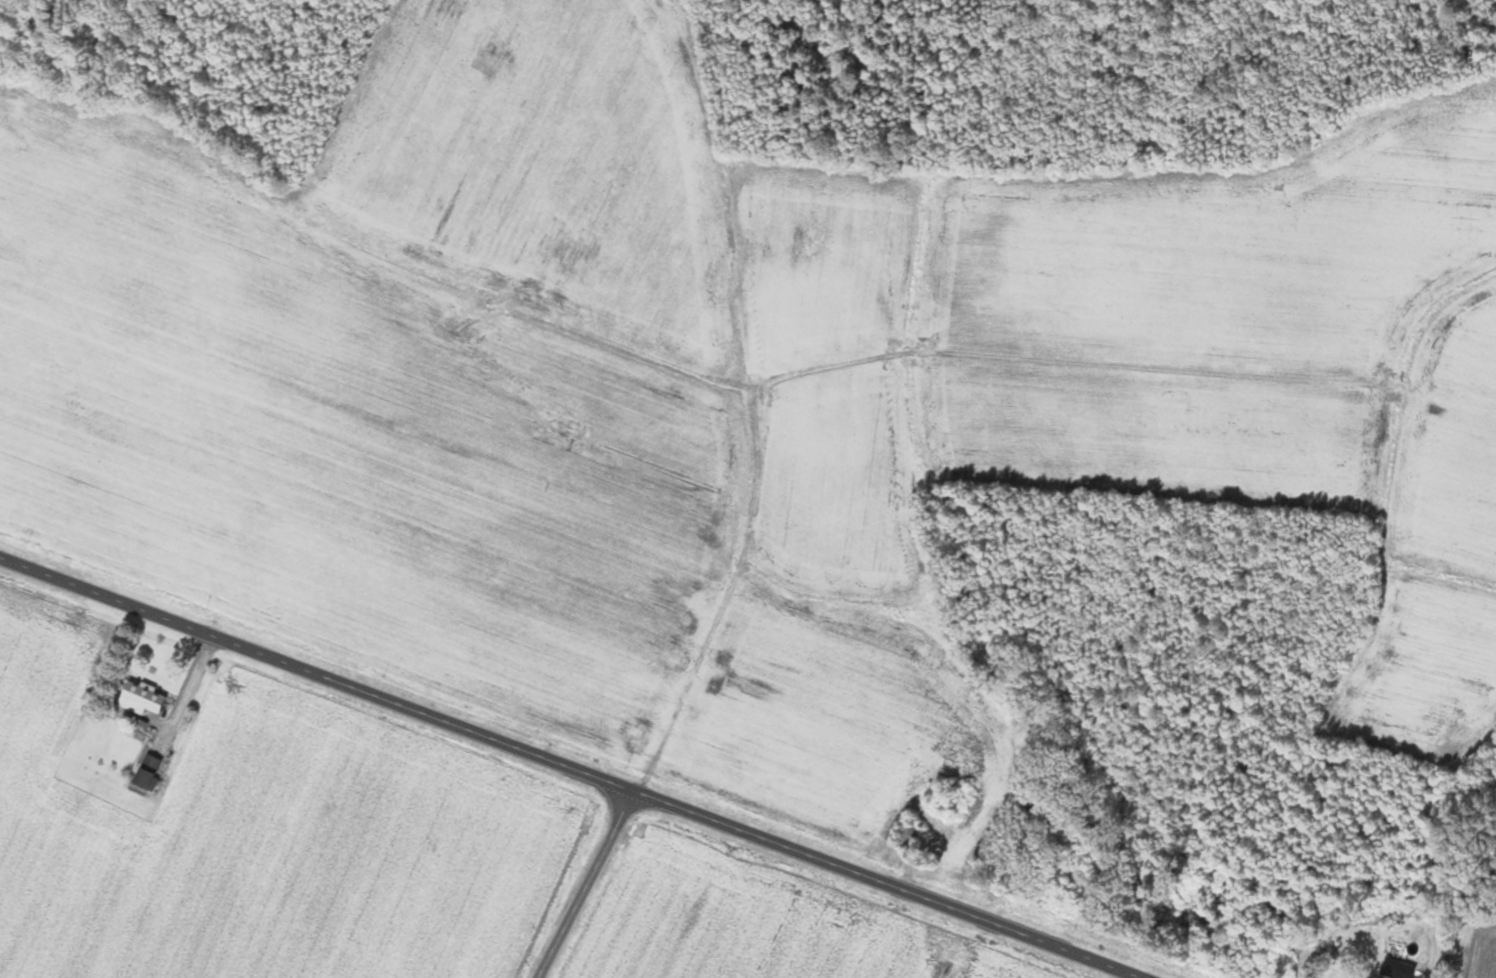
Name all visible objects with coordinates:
road: (187, 690)
building: (143, 698)
building: (151, 764)
road: (565, 767)
building: (907, 835)
road: (581, 884)
building: (1383, 932)
building: (1394, 973)

